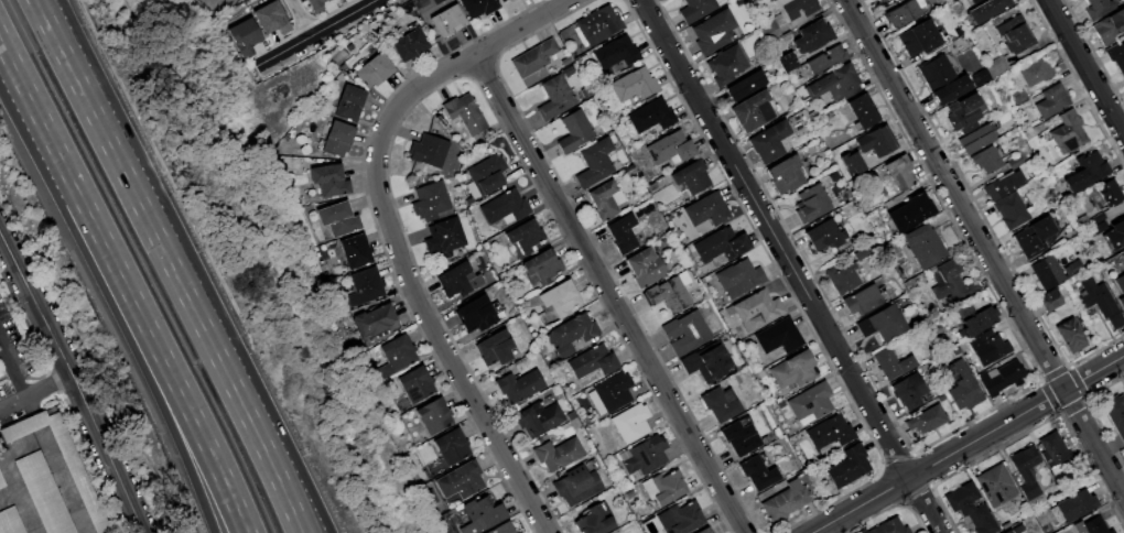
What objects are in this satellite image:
building: (502, 0)
building: (876, 0)
building: (880, 0)
building: (972, 0)
power substation: (220, 2)
building: (316, 4)
building: (478, 7)
building: (797, 8)
building: (1098, 8)
building: (698, 9)
building: (987, 10)
building: (901, 14)
building: (272, 19)
building: (447, 21)
building: (598, 25)
building: (1109, 26)
building: (771, 31)
road: (315, 32)
building: (713, 32)
building: (1015, 35)
building: (245, 36)
building: (813, 36)
building: (919, 39)
building: (962, 40)
road: (55, 42)
road: (61, 42)
building: (409, 44)
building: (616, 52)
building: (1116, 55)
building: (533, 58)
building: (583, 58)
building: (826, 59)
building: (788, 62)
building: (726, 65)
building: (997, 67)
road: (1085, 68)
building: (374, 70)
building: (568, 72)
building: (1036, 72)
building: (942, 79)
building: (835, 84)
building: (635, 85)
building: (746, 85)
building: (585, 93)
building: (555, 98)
building: (1051, 101)
building: (349, 102)
building: (753, 110)
building: (862, 111)
building: (465, 113)
building: (960, 115)
building: (652, 116)
building: (575, 131)
building: (1068, 132)
building: (337, 139)
building: (975, 140)
building: (769, 141)
building: (875, 141)
building: (670, 149)
building: (429, 150)
road: (60, 156)
building: (985, 160)
building: (1015, 162)
building: (595, 163)
building: (852, 163)
building: (899, 172)
building: (1087, 172)
building: (786, 174)
building: (485, 175)
building: (692, 176)
building: (329, 180)
building: (1003, 184)
building: (1110, 192)
building: (605, 199)
building: (430, 200)
building: (811, 203)
road: (139, 205)
building: (505, 207)
building: (707, 209)
building: (1010, 210)
building: (909, 211)
building: (1098, 216)
building: (338, 218)
building: (1082, 220)
building: (1099, 228)
building: (526, 232)
building: (622, 232)
road: (390, 233)
building: (1115, 233)
building: (824, 235)
building: (1034, 236)
building: (443, 239)
building: (721, 244)
building: (923, 246)
road: (983, 249)
building: (356, 251)
building: (542, 265)
road: (789, 265)
building: (645, 266)
building: (1072, 266)
building: (1047, 272)
building: (738, 278)
building: (842, 278)
building: (458, 280)
building: (951, 283)
building: (1121, 283)
building: (365, 286)
road: (607, 293)
building: (669, 293)
building: (560, 297)
building: (861, 301)
building: (1050, 301)
building: (1100, 301)
building: (1122, 302)
building: (758, 308)
building: (474, 313)
building: (975, 319)
building: (375, 320)
building: (883, 324)
building: (685, 333)
building: (571, 334)
building: (778, 336)
building: (1070, 336)
building: (988, 346)
building: (495, 348)
building: (397, 355)
building: (592, 361)
building: (707, 361)
building: (893, 362)
road: (14, 368)
building: (793, 370)
building: (1002, 378)
road: (75, 379)
building: (417, 383)
building: (519, 385)
building: (962, 385)
road: (37, 391)
building: (909, 391)
building: (610, 392)
road: (184, 401)
road: (166, 403)
building: (720, 403)
building: (810, 403)
road: (31, 404)
building: (1115, 414)
building: (434, 416)
building: (538, 417)
building: (927, 420)
road: (35, 421)
building: (630, 423)
road: (252, 428)
road: (267, 428)
road: (40, 432)
building: (830, 432)
building: (739, 437)
road: (42, 438)
road: (966, 443)
building: (452, 447)
building: (1051, 450)
building: (558, 454)
building: (646, 455)
building: (60, 460)
building: (849, 466)
building: (1025, 471)
building: (757, 472)
building: (461, 480)
building: (0, 485)
building: (995, 485)
building: (576, 486)
building: (663, 488)
building: (42, 494)
building: (785, 501)
building: (1073, 504)
building: (970, 508)
building: (482, 514)
building: (595, 519)
building: (680, 519)
building: (9, 521)
building: (1091, 525)
building: (888, 526)
building: (504, 529)
building: (703, 530)
building: (1007, 532)

